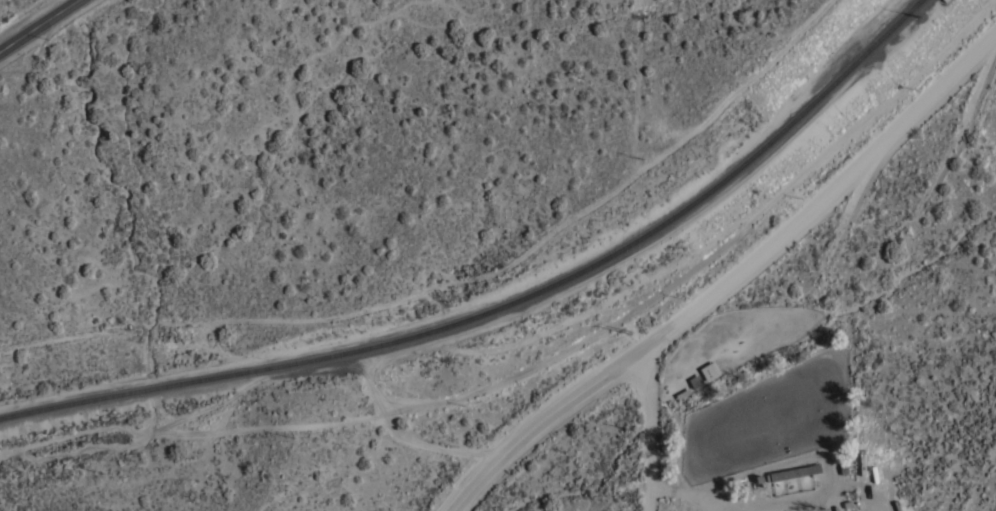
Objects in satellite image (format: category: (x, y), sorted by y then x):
road: (39, 26)
road: (729, 282)
railway: (505, 305)
building: (709, 371)
road: (650, 431)
building: (793, 471)
road: (692, 492)

